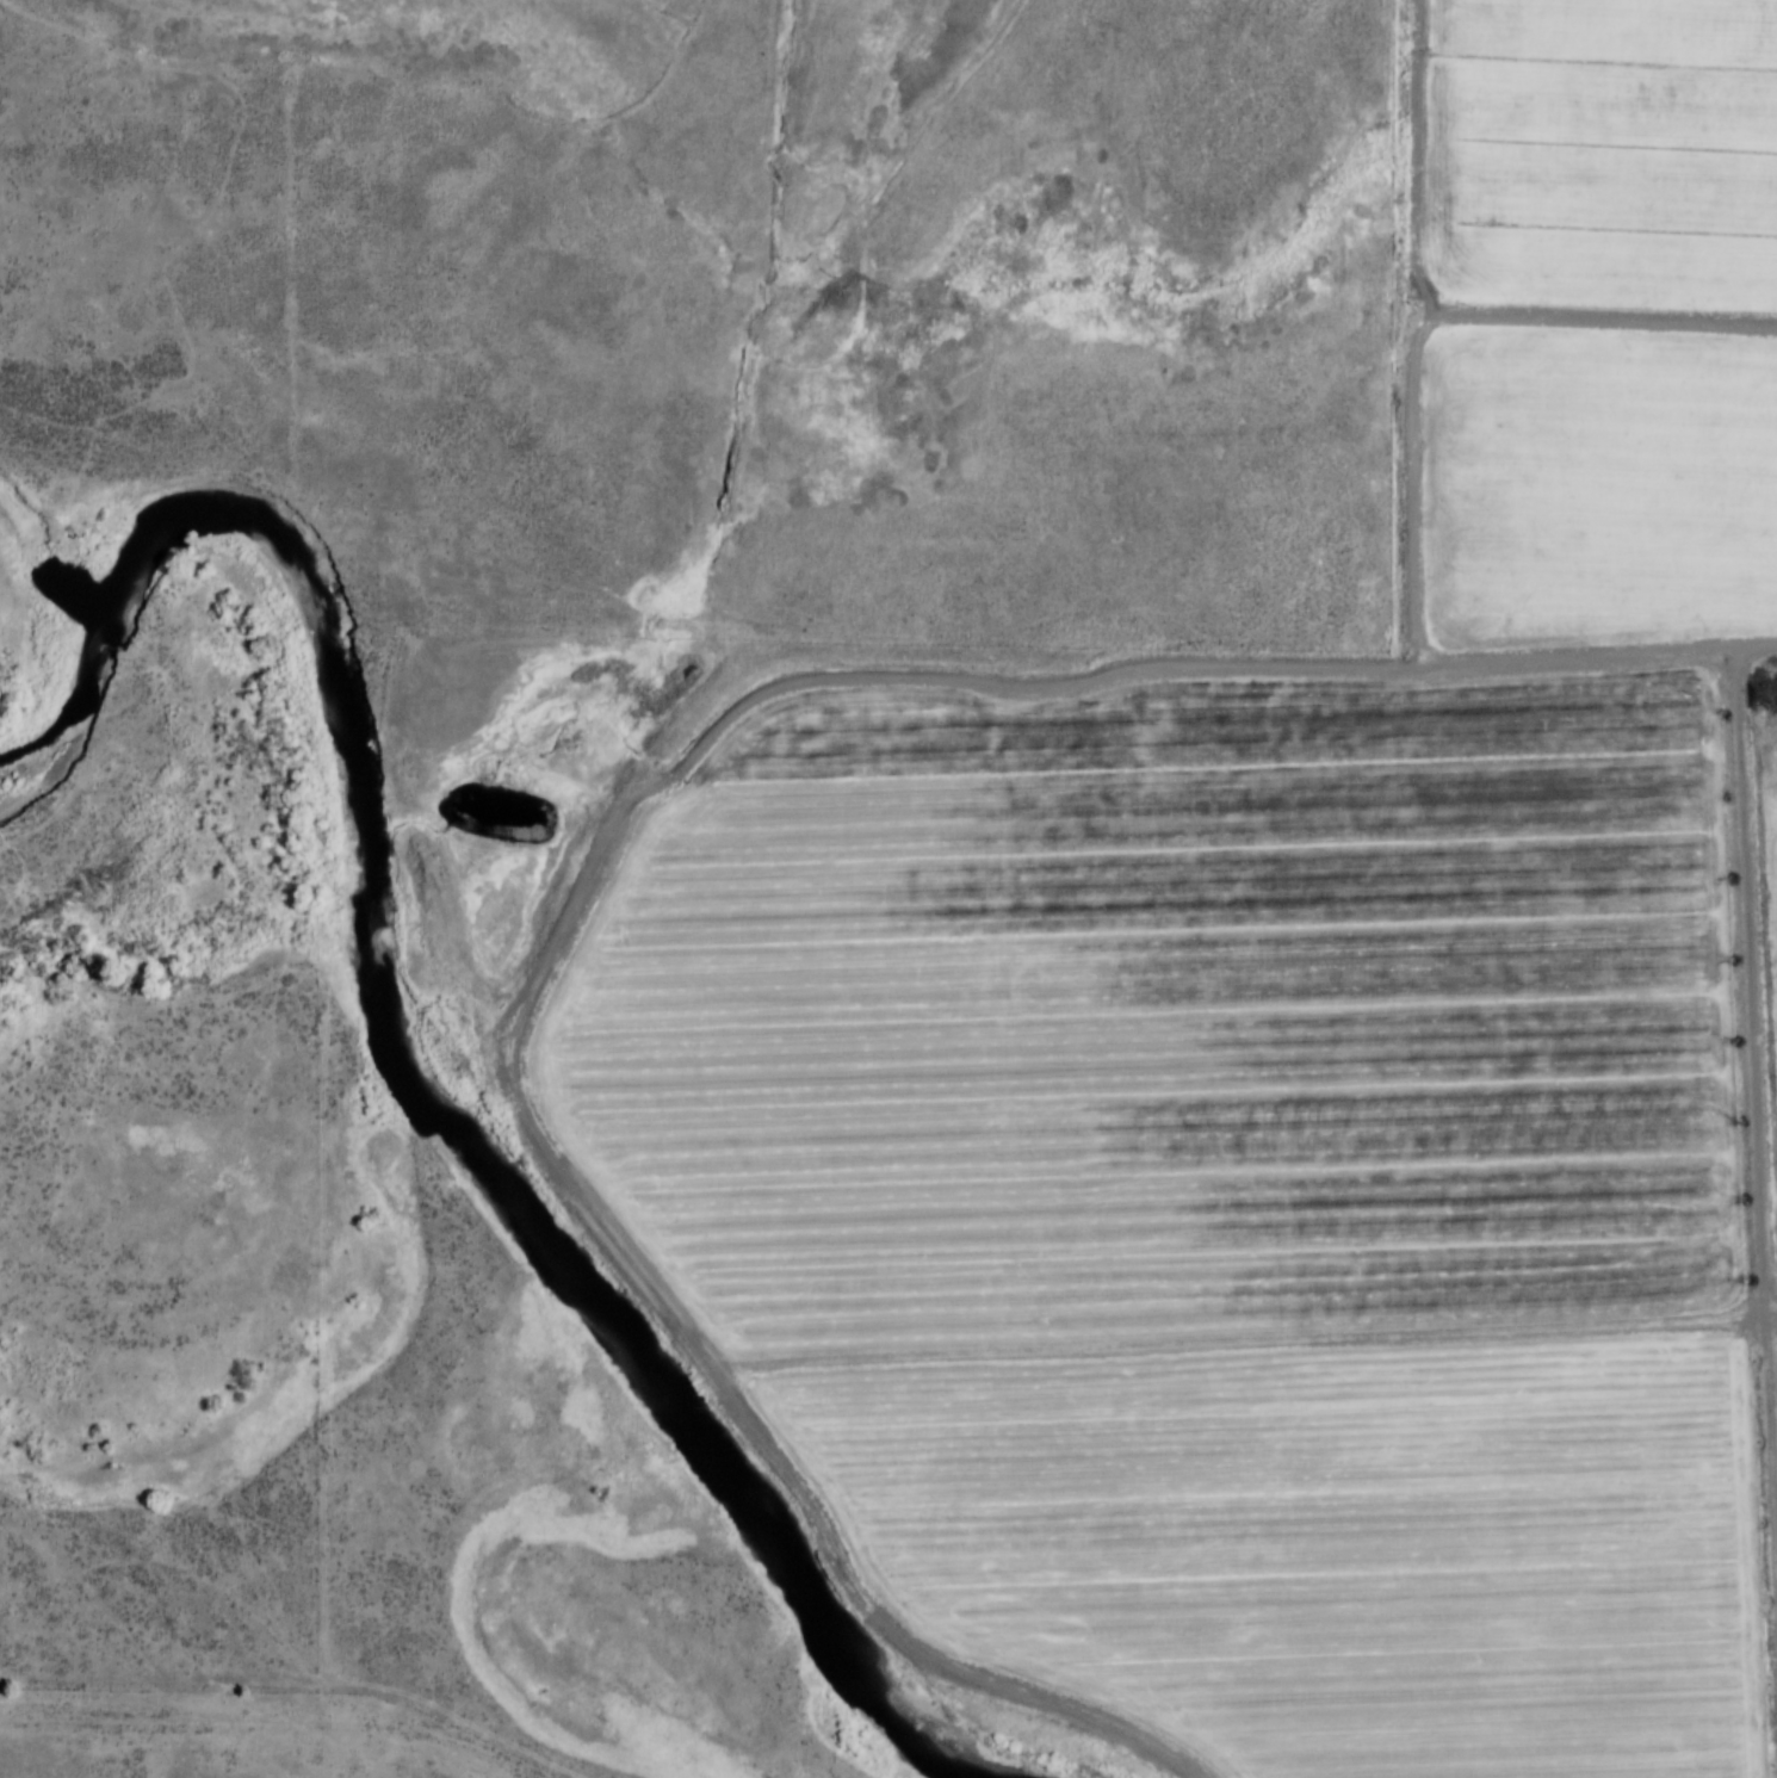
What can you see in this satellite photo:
road: (285, 63)
crop: (1611, 155)
road: (565, 193)
crop: (1605, 483)
road: (1207, 669)
crop: (1772, 764)
river: (441, 1048)
crop: (1243, 1195)

